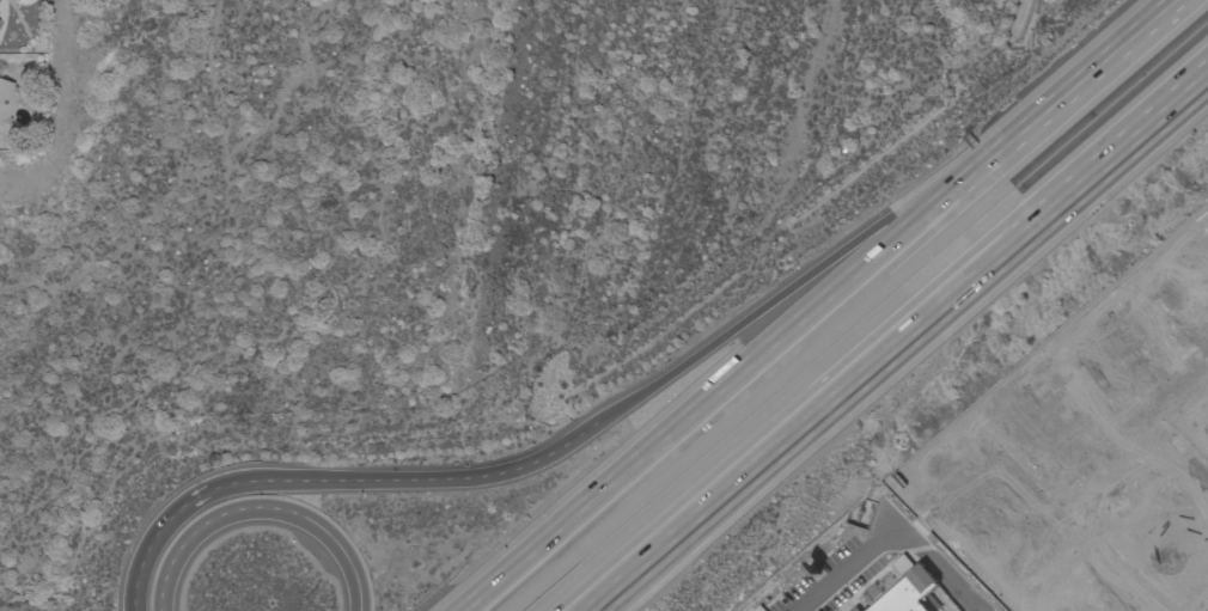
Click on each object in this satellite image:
quarry: (1032, 18)
road: (1091, 69)
building: (6, 102)
road: (901, 348)
road: (734, 374)
road: (1124, 411)
road: (579, 439)
road: (261, 511)
road: (1099, 552)
road: (933, 561)
road: (834, 579)
building: (907, 588)
building: (854, 609)

